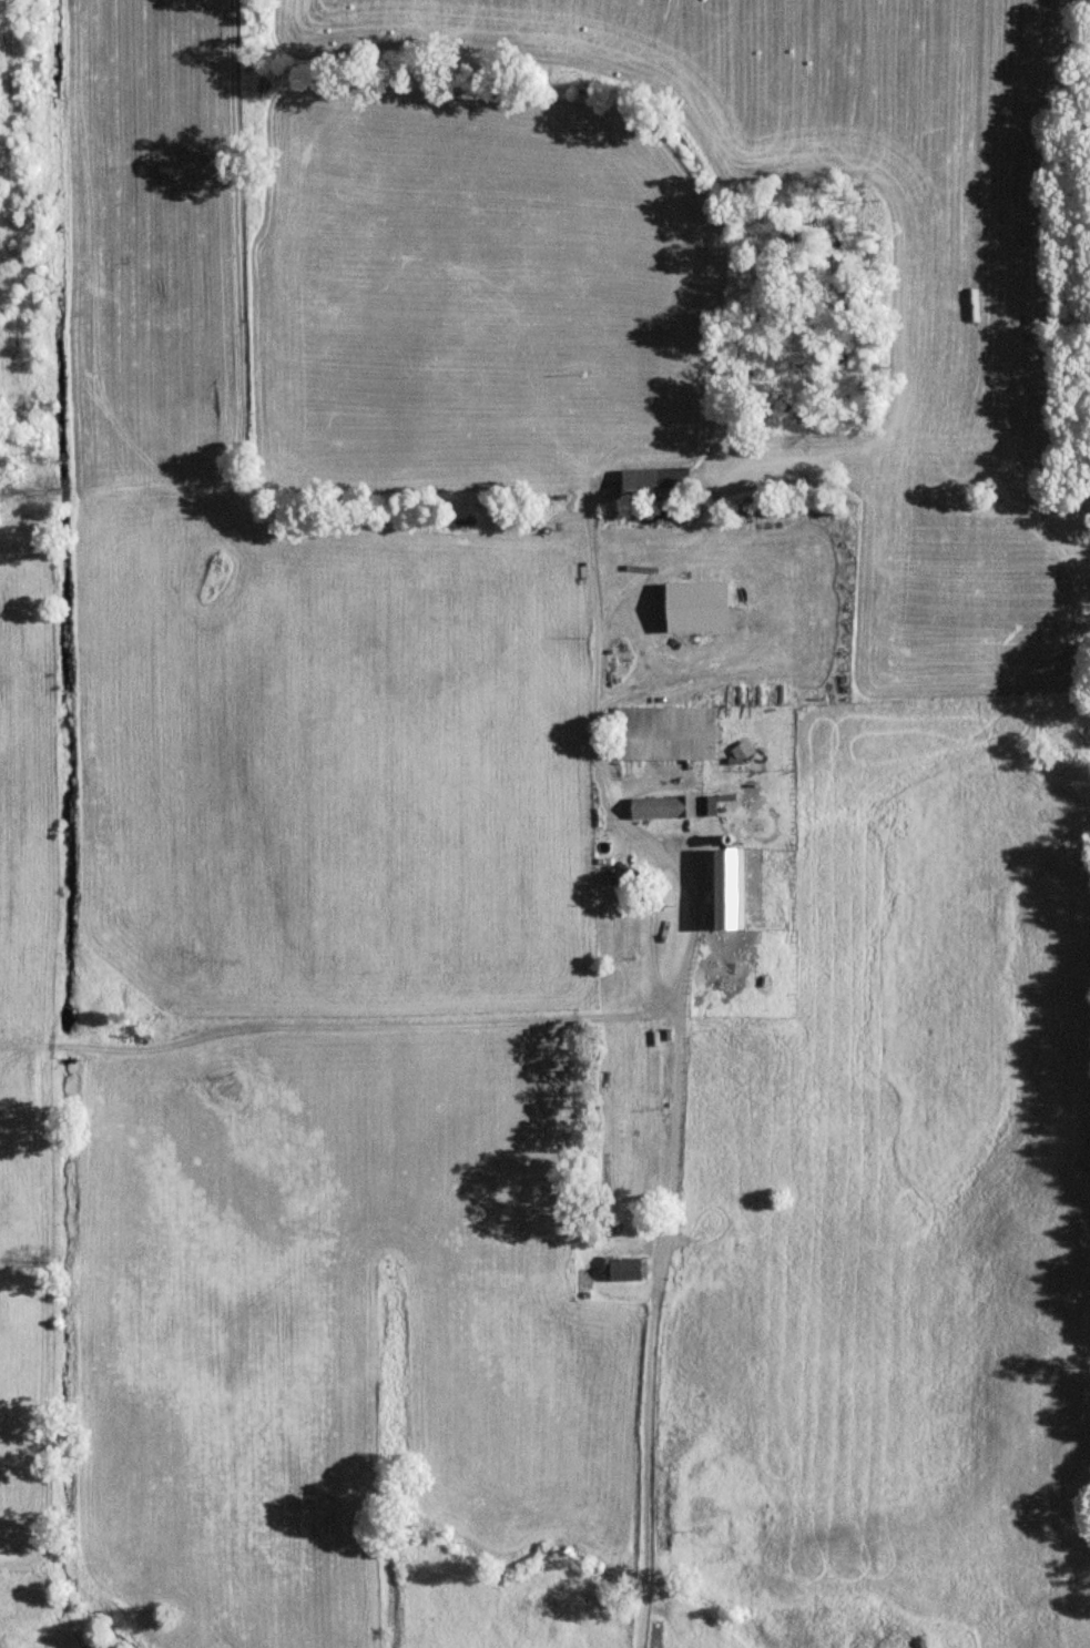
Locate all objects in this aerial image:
building: (662, 482)
building: (670, 733)
building: (711, 805)
building: (668, 807)
building: (628, 877)
building: (736, 889)
road: (678, 1045)
building: (629, 1268)

